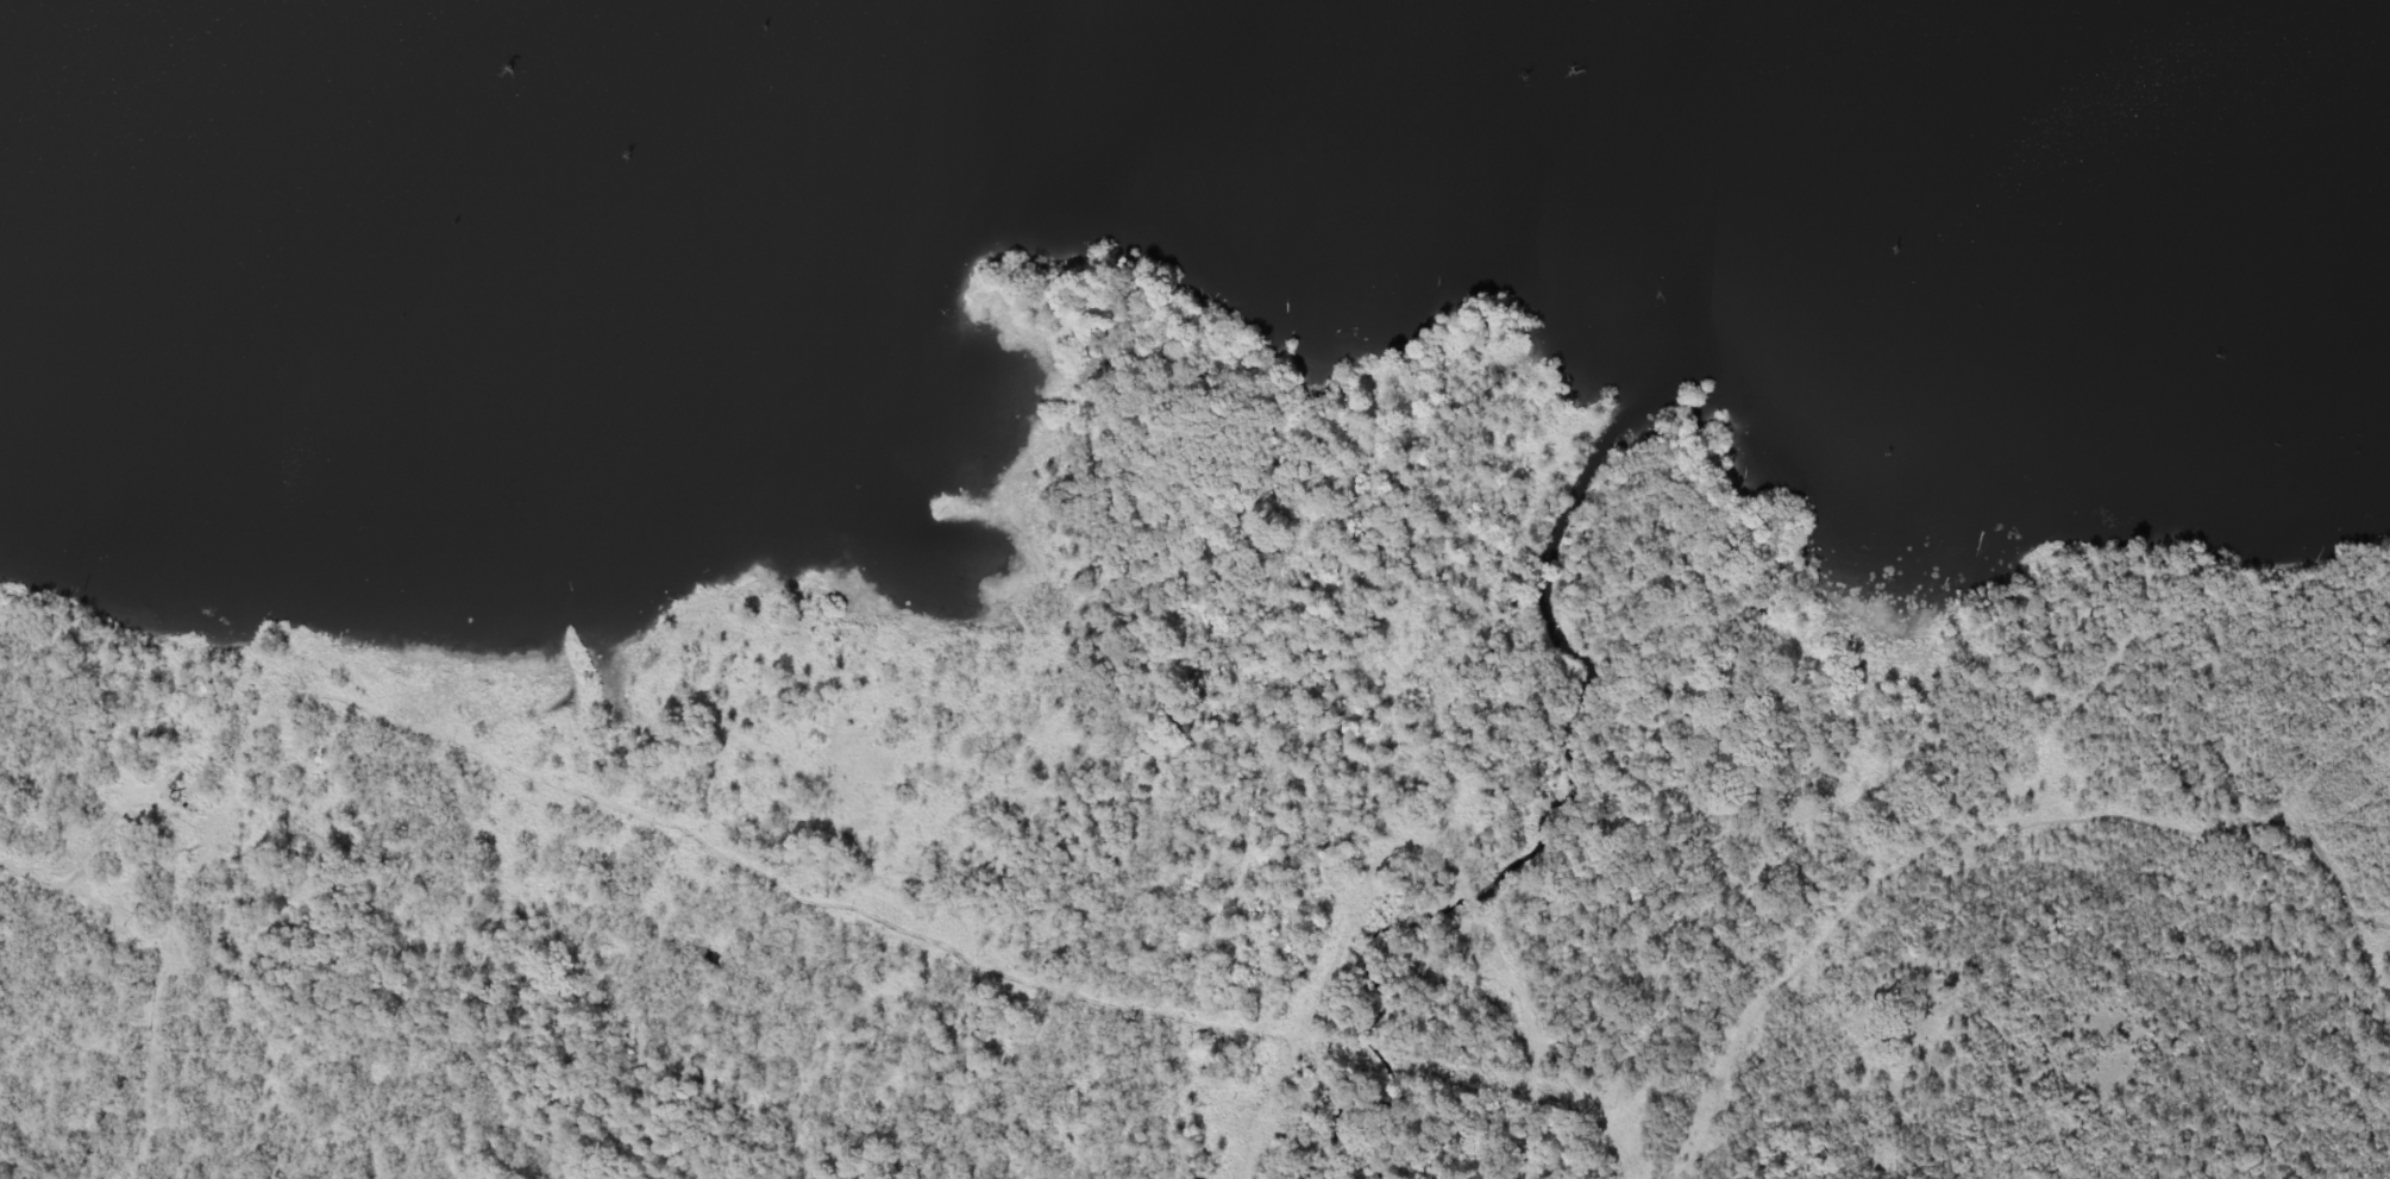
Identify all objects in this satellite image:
road: (75, 871)
road: (151, 1006)

